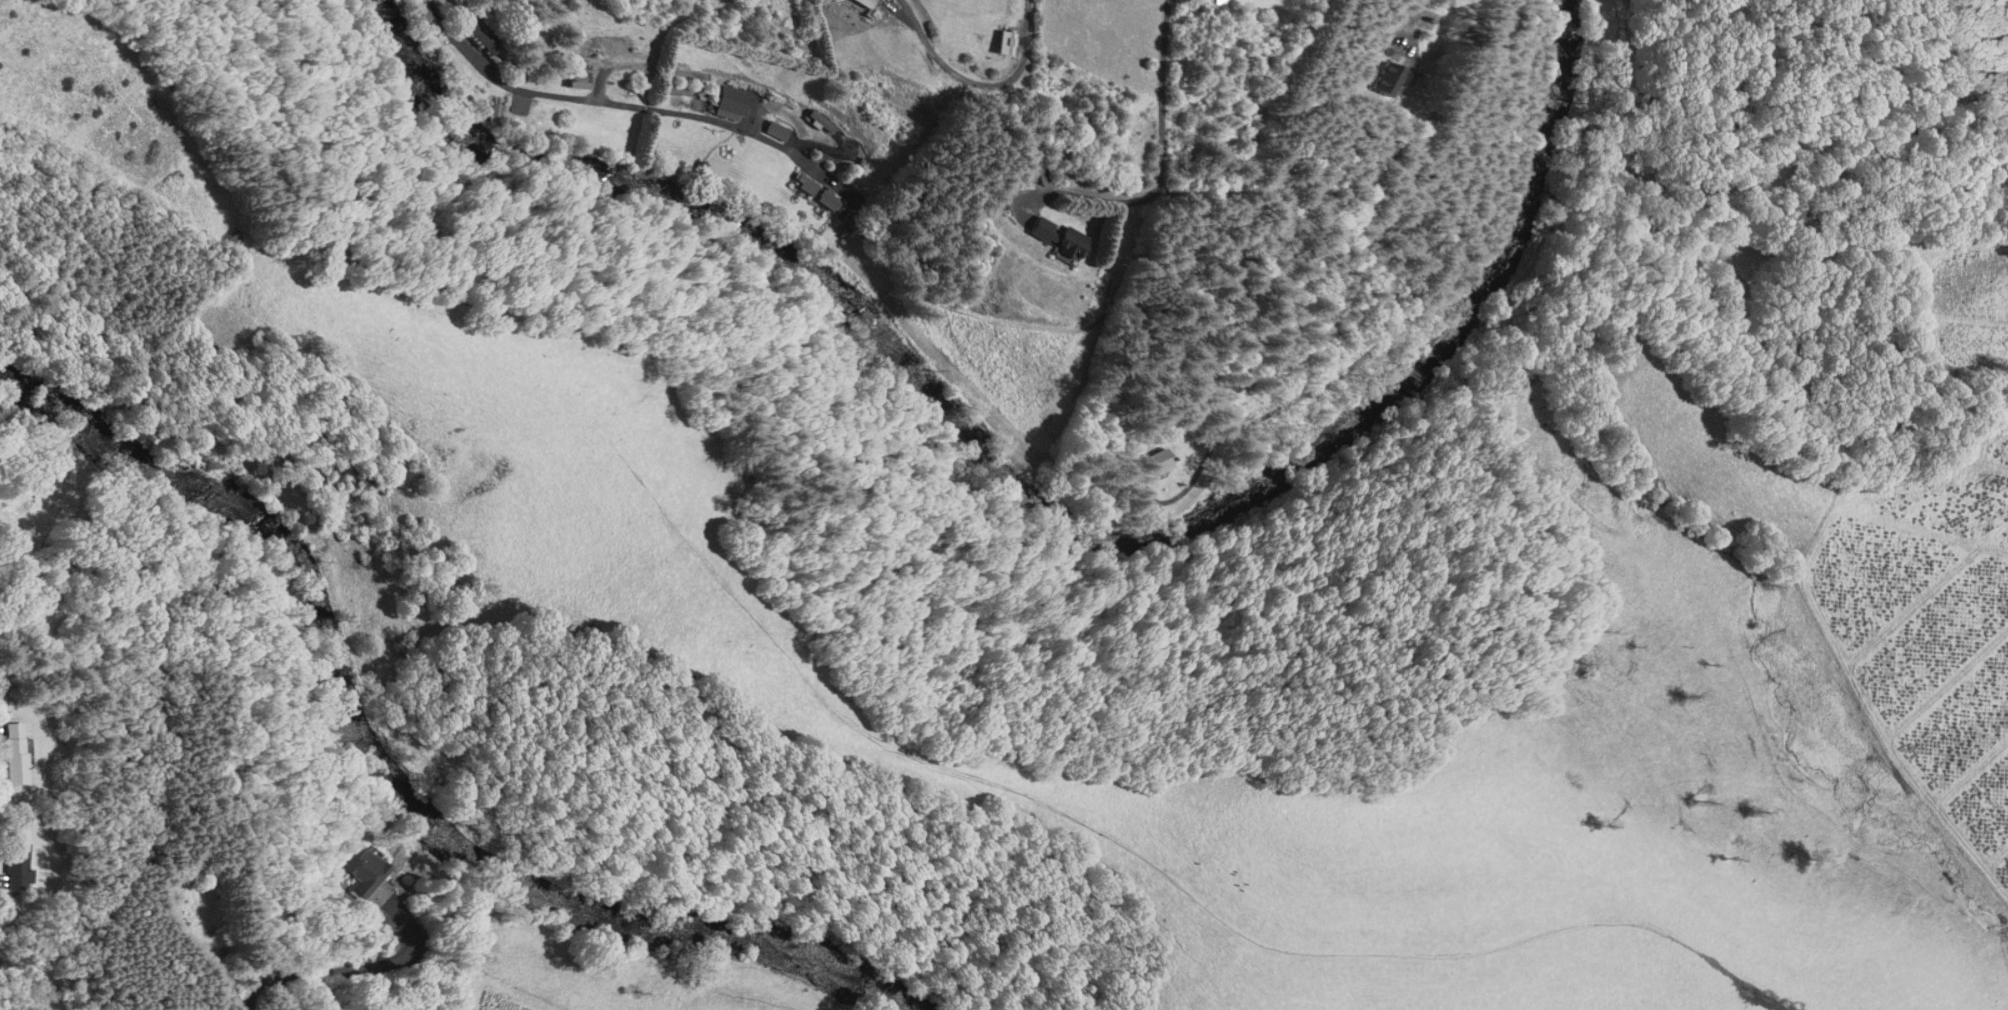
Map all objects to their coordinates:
building: (859, 3)
building: (1215, 3)
building: (575, 78)
building: (1381, 80)
road: (977, 81)
road: (622, 103)
building: (730, 103)
road: (1248, 120)
building: (816, 122)
building: (776, 130)
road: (1160, 146)
building: (828, 199)
building: (1036, 229)
building: (1064, 243)
road: (894, 302)
road: (1341, 374)
building: (1161, 462)
river: (1042, 470)
building: (16, 751)
river: (404, 775)
building: (19, 865)
building: (368, 871)

